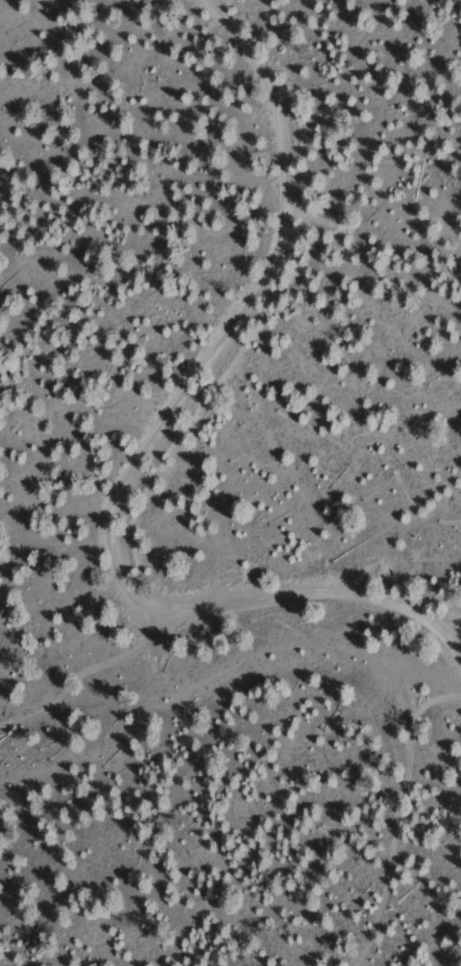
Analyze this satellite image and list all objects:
road: (154, 445)
road: (88, 669)
road: (401, 825)

